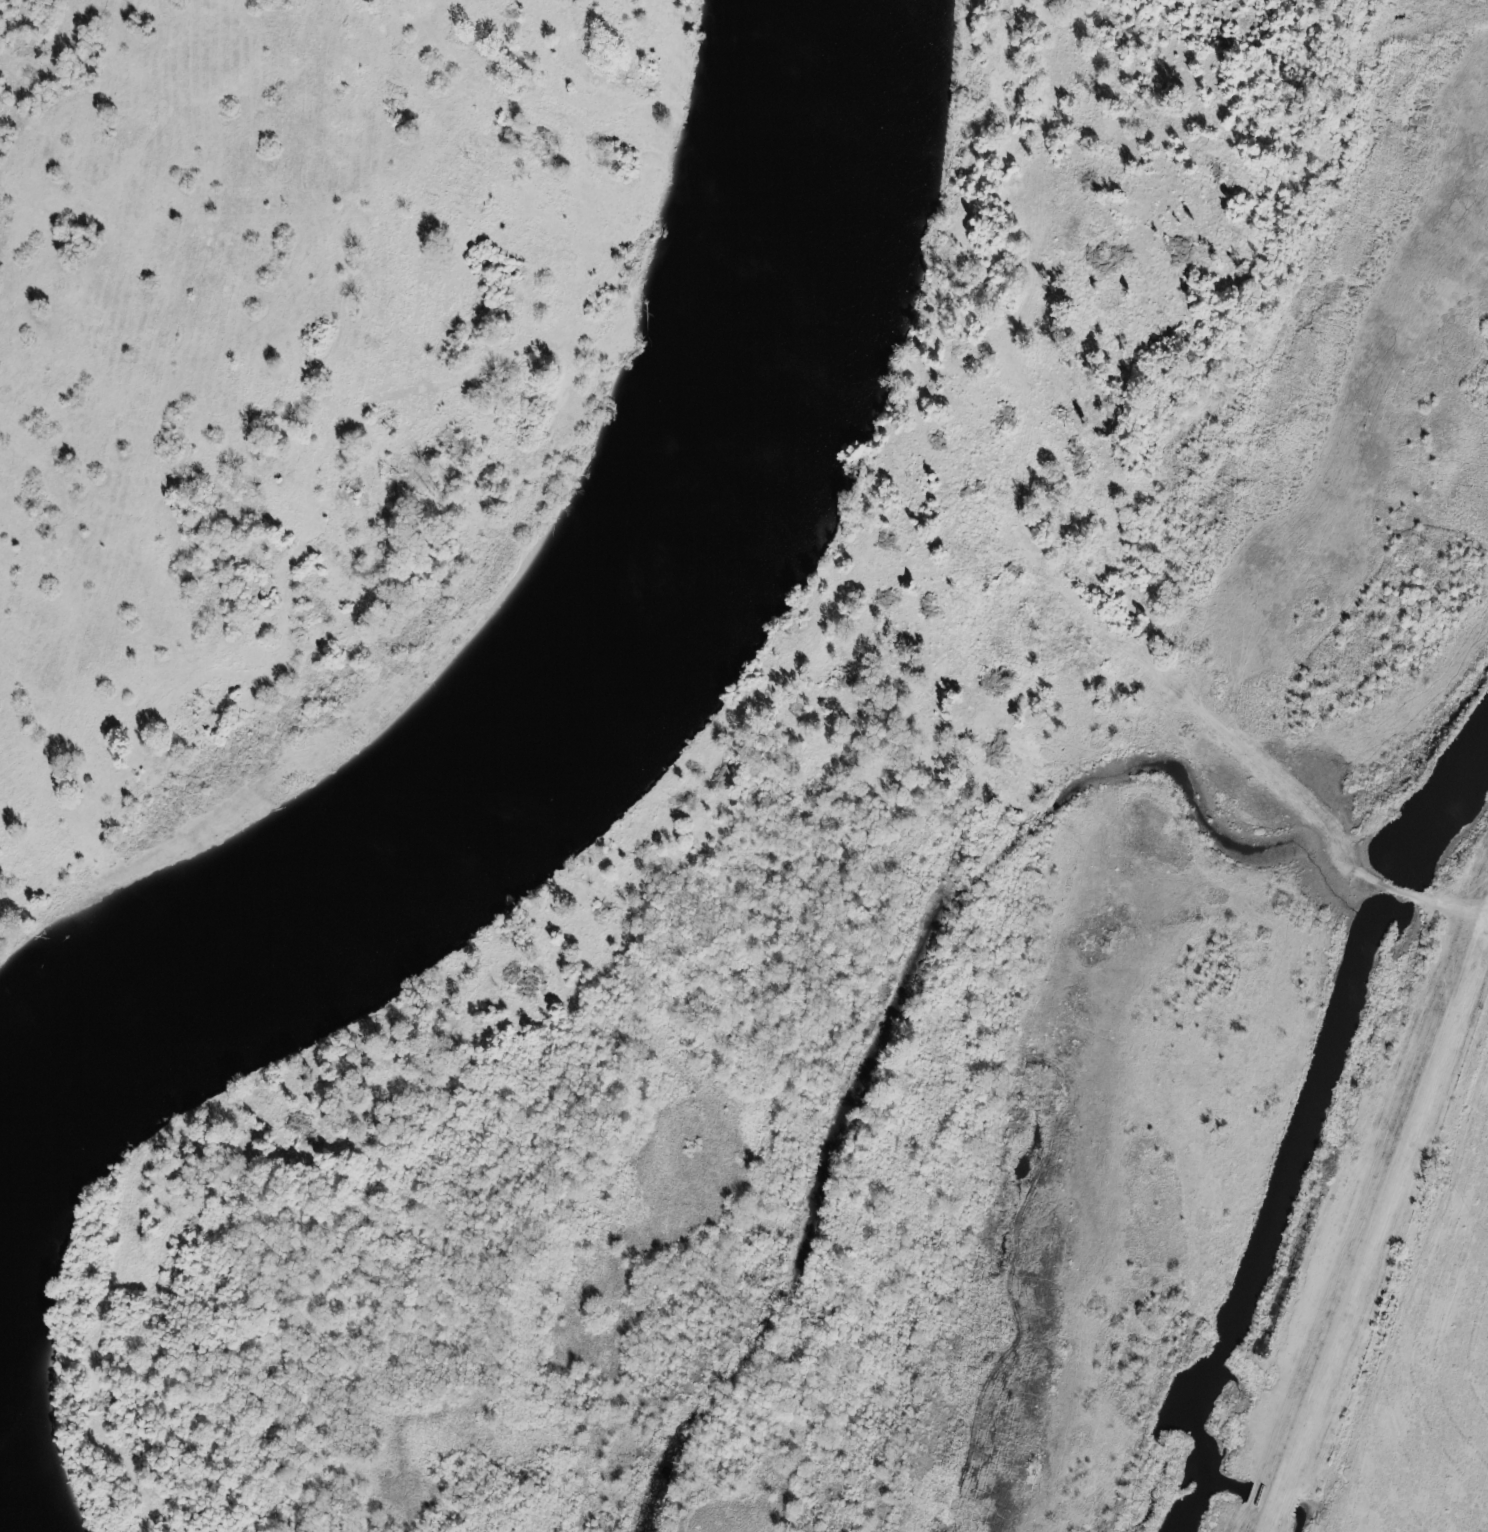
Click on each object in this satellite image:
river: (586, 681)
road: (1253, 750)
road: (1380, 1215)
river: (5, 1521)

